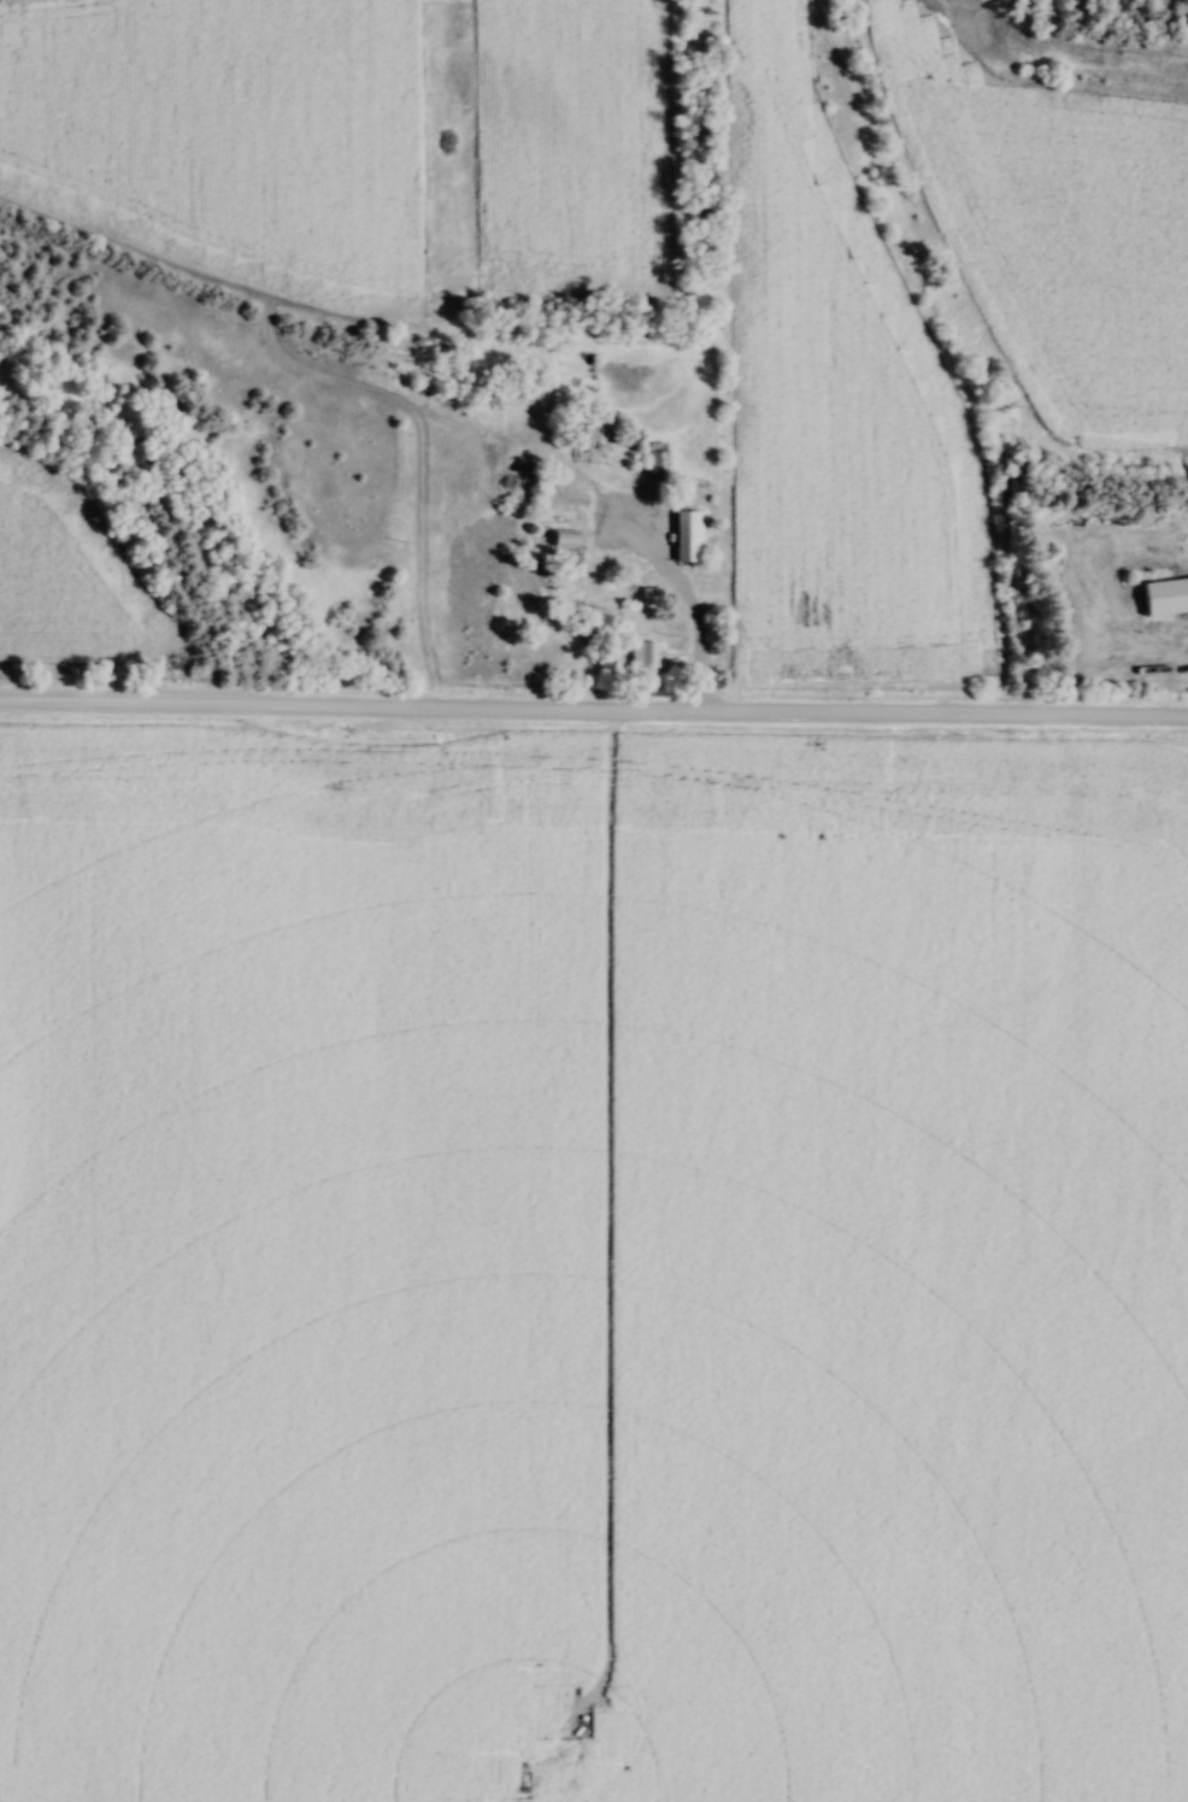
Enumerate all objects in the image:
building: (513, 389)
crop: (839, 406)
building: (581, 429)
building: (623, 439)
building: (653, 464)
building: (686, 533)
building: (1180, 547)
building: (1166, 594)
building: (649, 598)
road: (692, 626)
building: (642, 655)
road: (593, 711)

